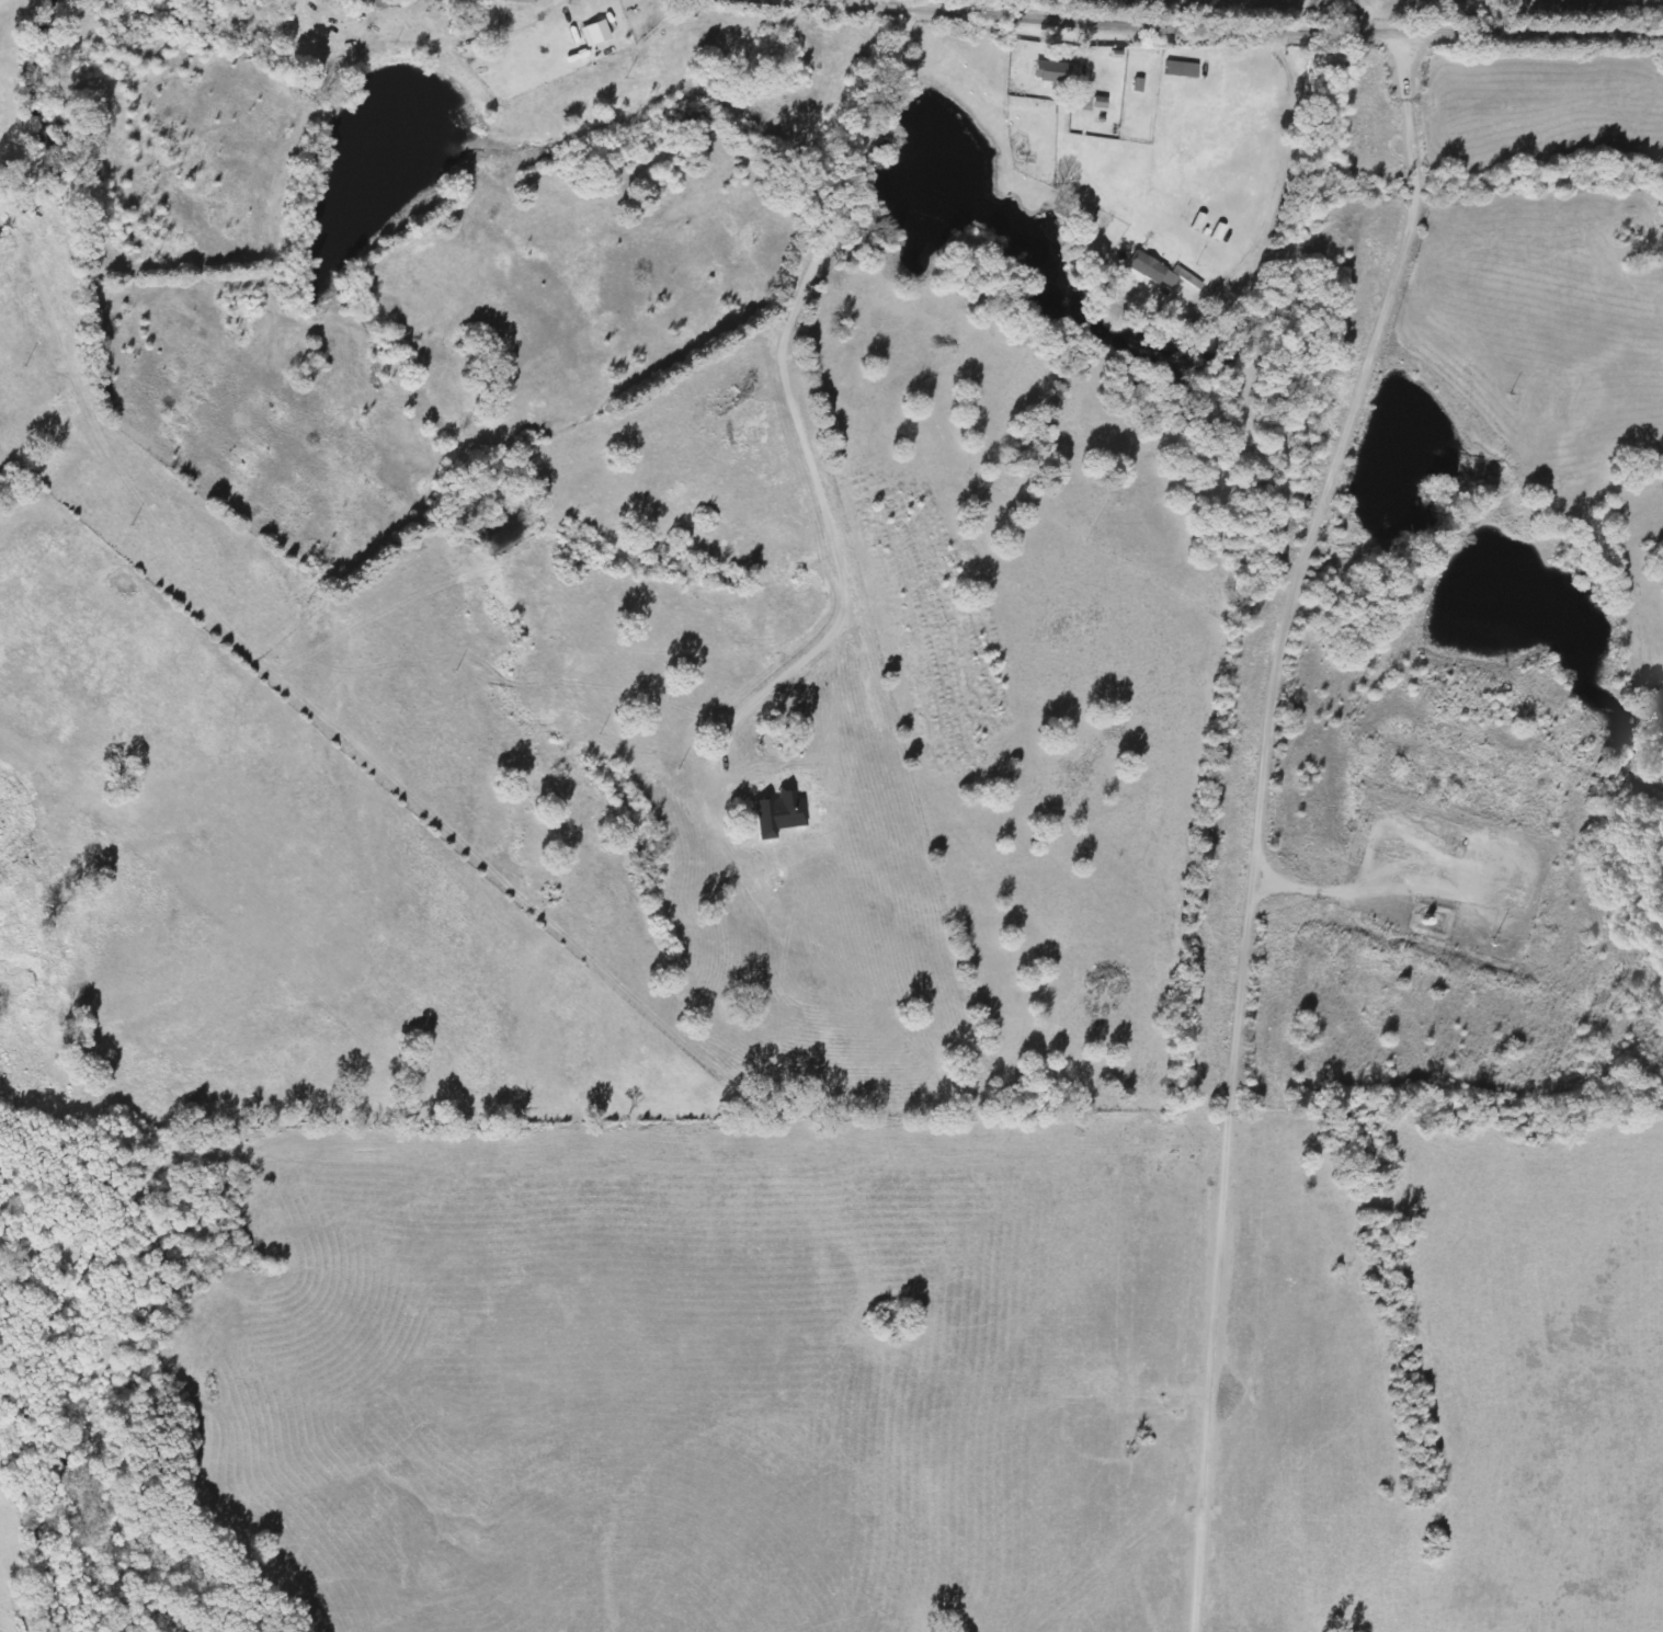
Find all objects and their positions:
building: (516, 1)
road: (1325, 31)
building: (596, 34)
building: (1183, 70)
building: (1058, 73)
building: (1095, 104)
building: (1159, 274)

